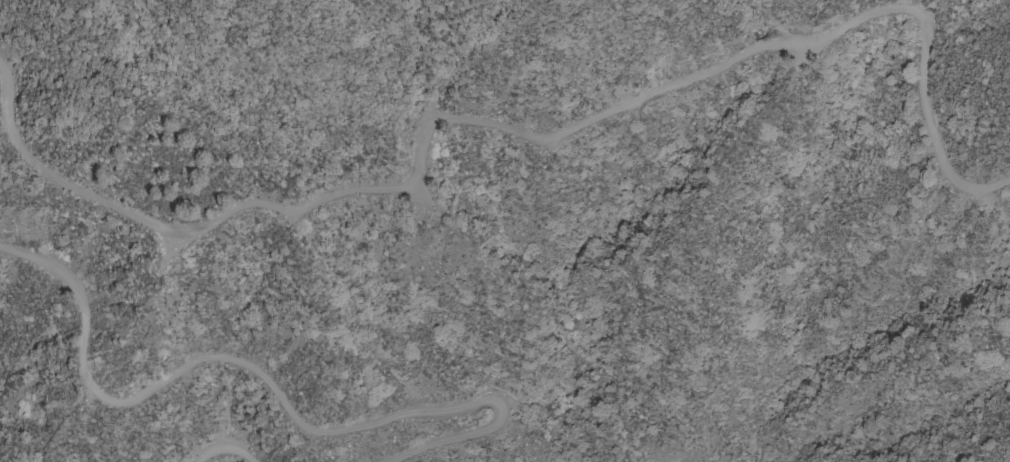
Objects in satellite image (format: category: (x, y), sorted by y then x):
road: (233, 124)
road: (514, 133)
road: (276, 386)
road: (231, 449)

